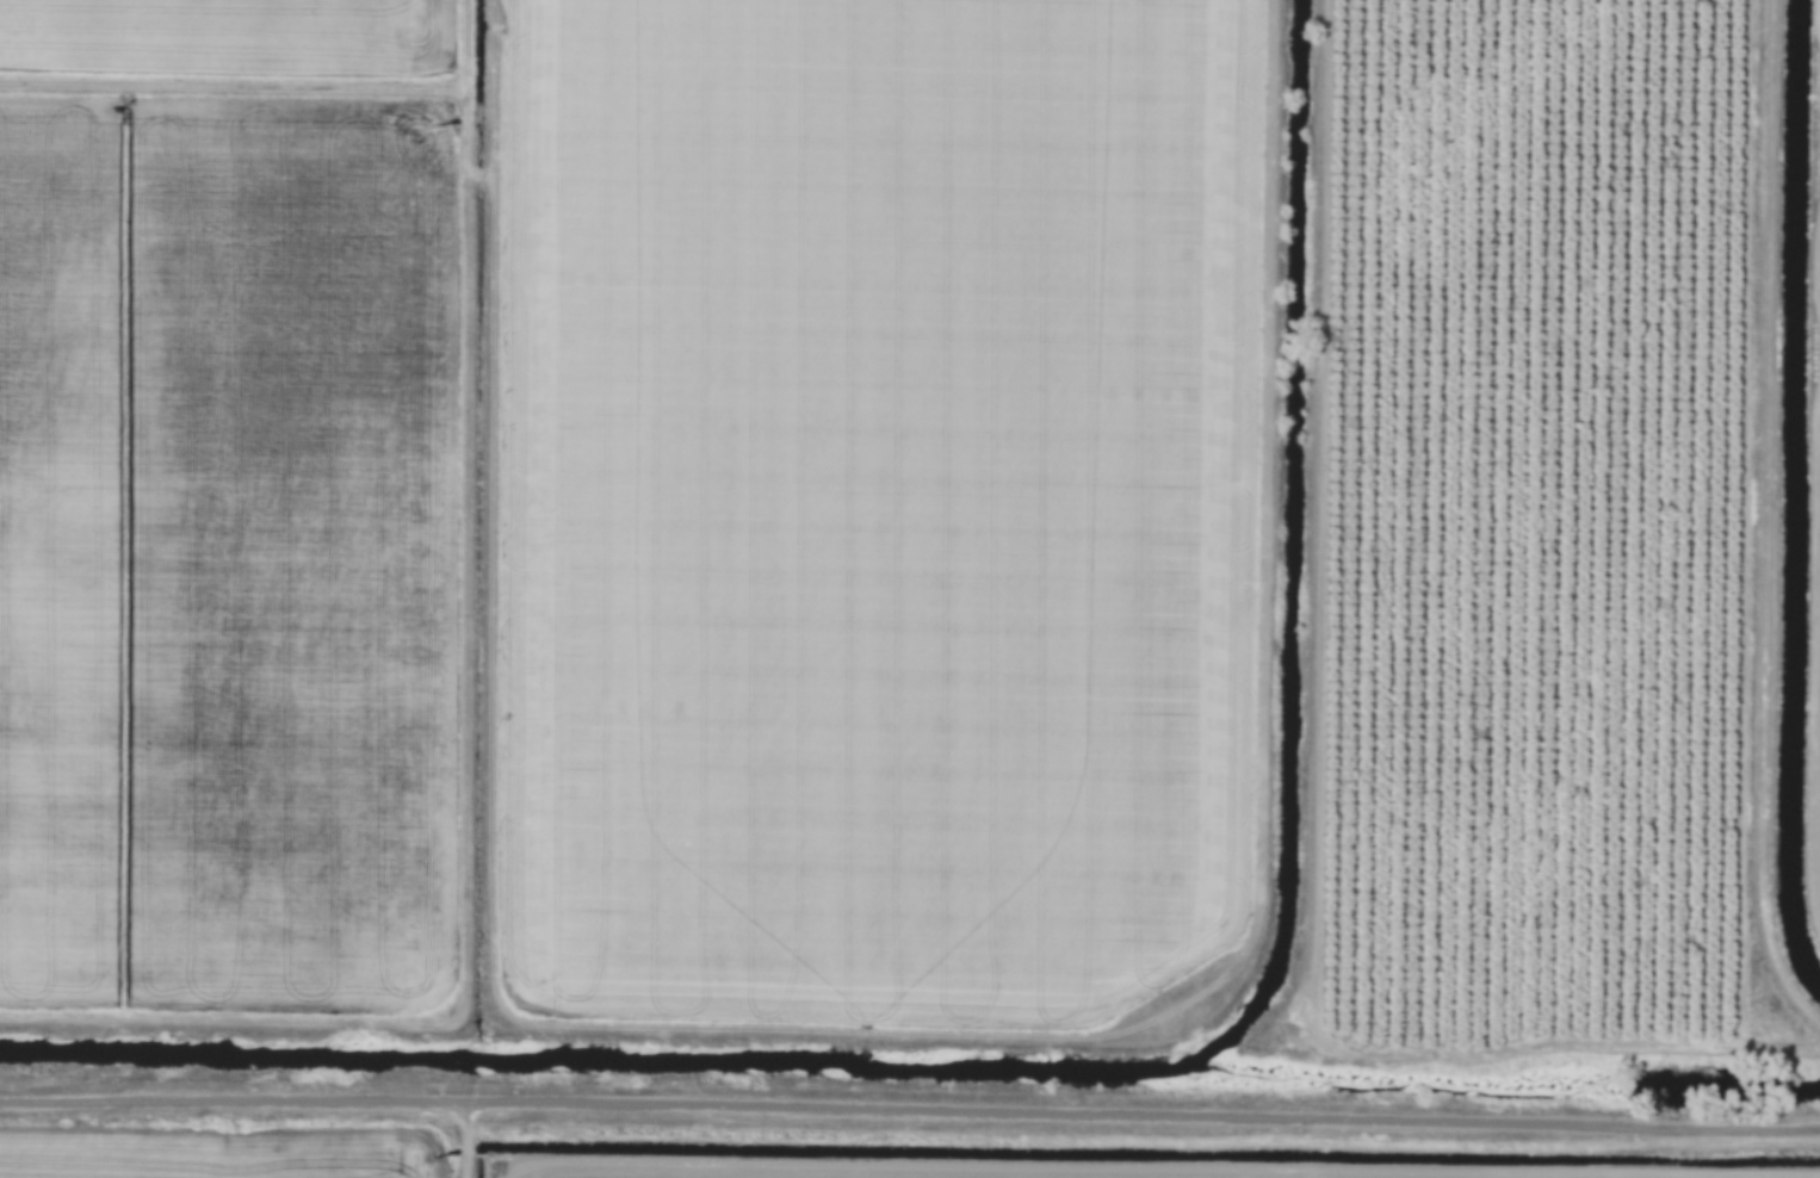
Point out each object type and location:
crop: (869, 507)
road: (1259, 866)
road: (910, 1112)

